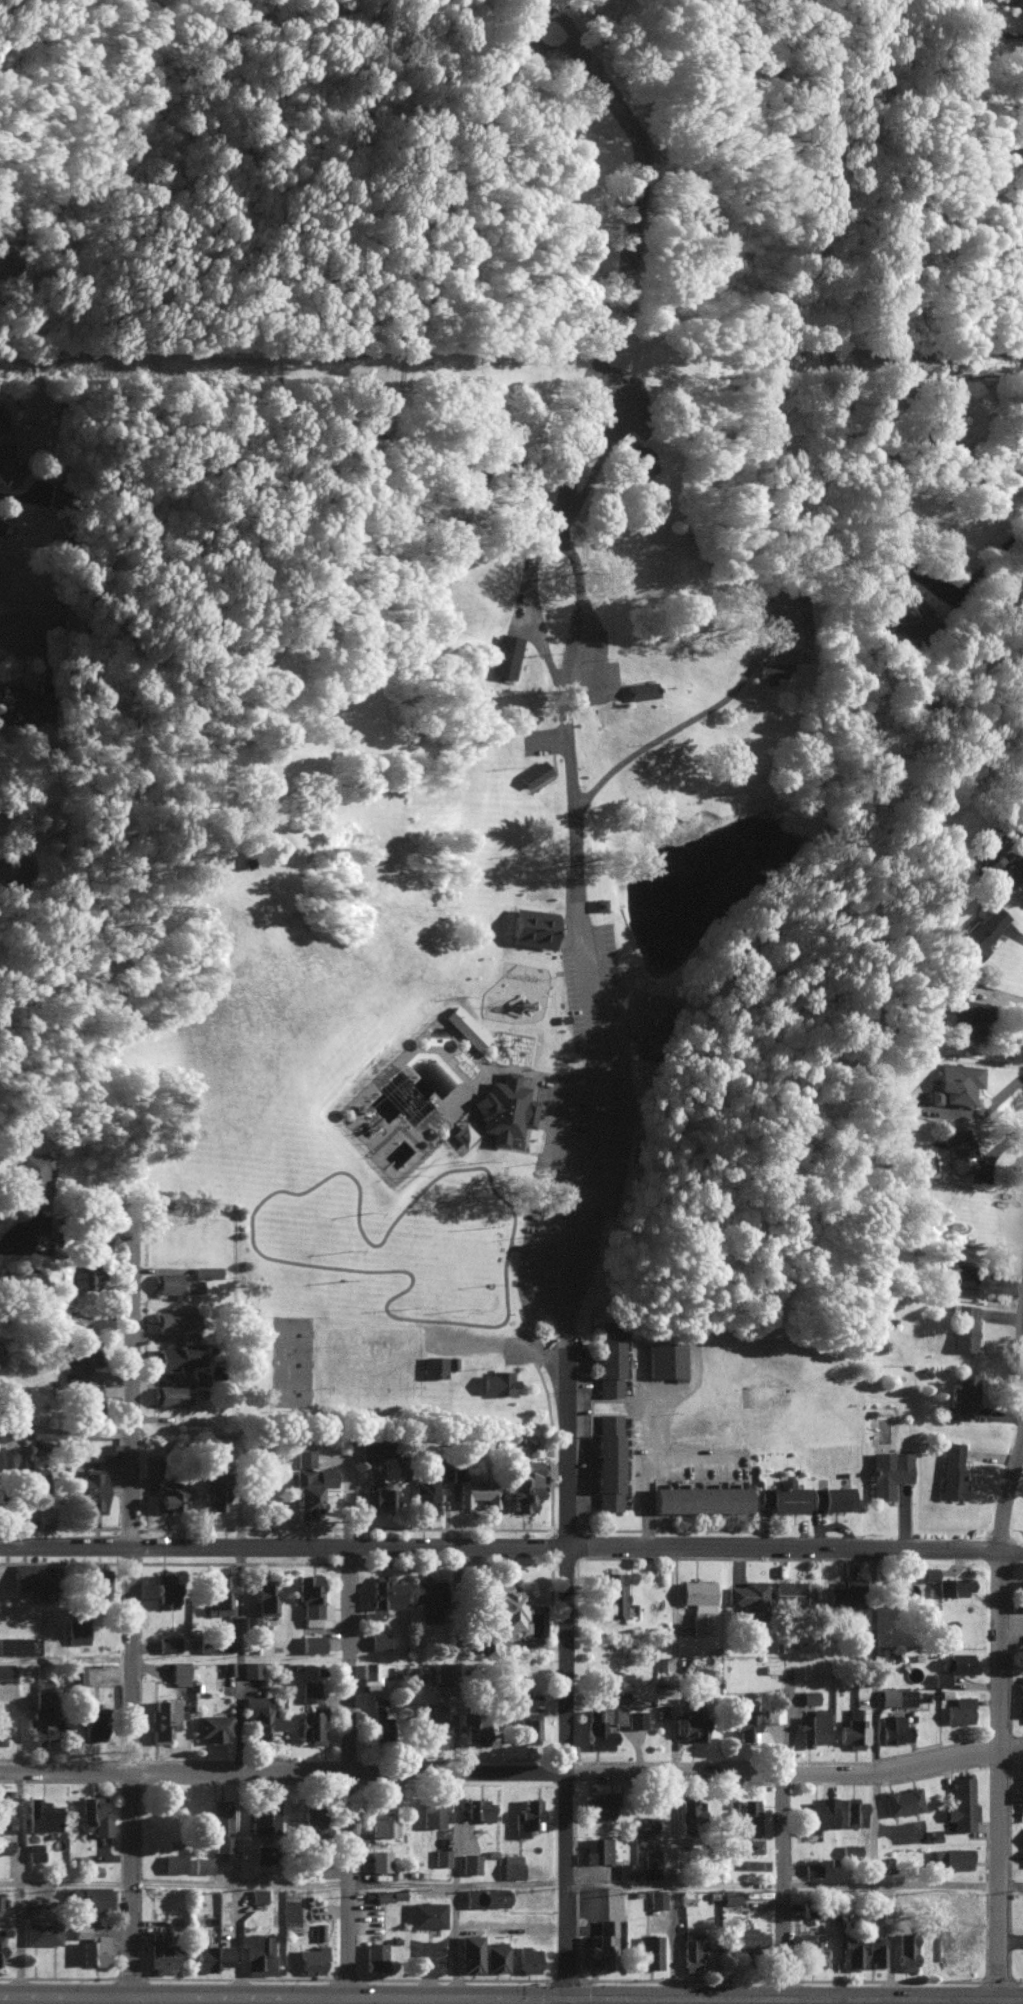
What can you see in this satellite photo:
building: (1021, 2)
road: (592, 28)
road: (631, 303)
road: (993, 372)
building: (941, 414)
building: (2, 422)
building: (650, 448)
building: (637, 456)
building: (1, 525)
road: (558, 544)
building: (455, 551)
road: (989, 562)
building: (904, 613)
road: (18, 642)
building: (504, 654)
building: (517, 654)
park: (525, 660)
building: (782, 668)
building: (641, 689)
building: (21, 702)
road: (702, 723)
building: (34, 740)
road: (581, 761)
building: (533, 772)
building: (545, 774)
road: (585, 859)
building: (1008, 868)
road: (18, 882)
building: (598, 902)
building: (611, 910)
building: (545, 929)
building: (982, 931)
road: (599, 987)
parking lot: (602, 991)
building: (965, 1015)
building: (575, 1023)
building: (466, 1025)
building: (479, 1027)
building: (954, 1082)
building: (516, 1107)
road: (972, 1110)
building: (475, 1133)
building: (958, 1150)
building: (33, 1179)
road: (560, 1192)
road: (608, 1195)
parking lot: (587, 1198)
road: (17, 1235)
building: (207, 1270)
building: (88, 1272)
building: (29, 1276)
building: (967, 1280)
building: (175, 1283)
building: (176, 1318)
building: (965, 1326)
road: (512, 1346)
building: (175, 1355)
building: (609, 1356)
building: (666, 1358)
building: (81, 1359)
park: (353, 1362)
park: (381, 1362)
park: (410, 1362)
building: (464, 1362)
building: (446, 1366)
building: (199, 1376)
building: (509, 1377)
building: (964, 1393)
building: (89, 1399)
road: (71, 1424)
road: (578, 1433)
building: (370, 1447)
building: (109, 1451)
building: (304, 1456)
building: (608, 1460)
road: (700, 1460)
building: (151, 1464)
building: (449, 1470)
building: (889, 1470)
building: (953, 1470)
building: (31, 1473)
road: (657, 1474)
building: (213, 1481)
building: (525, 1484)
building: (310, 1488)
building: (90, 1490)
building: (477, 1491)
road: (1004, 1491)
building: (379, 1493)
building: (169, 1494)
building: (425, 1494)
building: (782, 1495)
building: (833, 1496)
building: (700, 1497)
road: (497, 1547)
road: (1008, 1554)
building: (926, 1572)
building: (36, 1578)
building: (96, 1581)
building: (954, 1584)
building: (167, 1588)
building: (386, 1590)
building: (613, 1592)
building: (793, 1592)
building: (844, 1592)
building: (1022, 1592)
building: (219, 1595)
building: (265, 1596)
building: (428, 1596)
building: (749, 1597)
building: (312, 1599)
building: (506, 1603)
building: (699, 1603)
building: (369, 1614)
road: (142, 1618)
road: (1009, 1620)
building: (251, 1622)
building: (76, 1629)
building: (378, 1639)
building: (168, 1642)
building: (311, 1642)
building: (18, 1644)
building: (208, 1644)
building: (487, 1644)
road: (17, 1659)
road: (674, 1660)
road: (874, 1660)
road: (31, 1661)
building: (958, 1661)
building: (663, 1662)
building: (228, 1666)
building: (5, 1668)
building: (251, 1668)
building: (805, 1670)
building: (179, 1671)
building: (76, 1673)
building: (444, 1673)
building: (369, 1674)
building: (941, 1678)
building: (615, 1684)
building: (309, 1689)
building: (809, 1695)
building: (897, 1696)
building: (517, 1698)
building: (1022, 1698)
building: (773, 1705)
building: (960, 1709)
building: (42, 1712)
building: (694, 1712)
building: (380, 1714)
building: (261, 1716)
building: (3, 1717)
building: (636, 1718)
building: (163, 1719)
building: (745, 1720)
building: (92, 1721)
building: (312, 1724)
building: (433, 1724)
building: (213, 1725)
building: (813, 1725)
building: (473, 1726)
building: (528, 1726)
building: (598, 1727)
building: (852, 1728)
building: (894, 1728)
road: (359, 1734)
road: (942, 1759)
road: (238, 1771)
road: (577, 1771)
road: (431, 1772)
road: (468, 1775)
road: (998, 1775)
building: (1022, 1778)
building: (902, 1799)
building: (961, 1802)
building: (600, 1805)
building: (479, 1808)
building: (5, 1811)
building: (434, 1811)
building: (855, 1811)
building: (817, 1813)
building: (41, 1814)
building: (93, 1814)
building: (263, 1814)
building: (527, 1815)
building: (691, 1815)
building: (747, 1815)
building: (312, 1816)
building: (382, 1817)
building: (648, 1822)
building: (219, 1824)
building: (753, 1844)
building: (4, 1846)
building: (597, 1849)
building: (849, 1849)
building: (34, 1850)
building: (263, 1852)
building: (441, 1856)
building: (951, 1857)
building: (379, 1859)
building: (174, 1862)
building: (469, 1862)
building: (650, 1863)
building: (202, 1864)
building: (512, 1865)
building: (811, 1868)
building: (626, 1870)
road: (28, 1882)
road: (892, 1883)
road: (512, 1884)
road: (792, 1884)
road: (683, 1888)
building: (389, 1893)
building: (257, 1894)
building: (732, 1894)
building: (473, 1896)
building: (96, 1897)
building: (656, 1897)
building: (494, 1898)
building: (427, 1914)
building: (80, 1929)
building: (318, 1930)
building: (42, 1932)
building: (748, 1938)
building: (0, 1945)
building: (600, 1945)
building: (812, 1946)
building: (93, 1949)
building: (650, 1950)
building: (876, 1950)
building: (906, 1950)
building: (470, 1951)
building: (693, 1951)
building: (850, 1951)
building: (159, 1952)
building: (257, 1952)
building: (375, 1955)
building: (210, 1956)
building: (495, 1956)
building: (312, 1958)
building: (528, 1958)
road: (496, 1995)
traffic signals: (579, 1996)
road: (1008, 1997)
road: (29, 1999)
road: (238, 1999)
road: (578, 2000)
road: (772, 2000)
road: (894, 2000)
road: (993, 2000)

